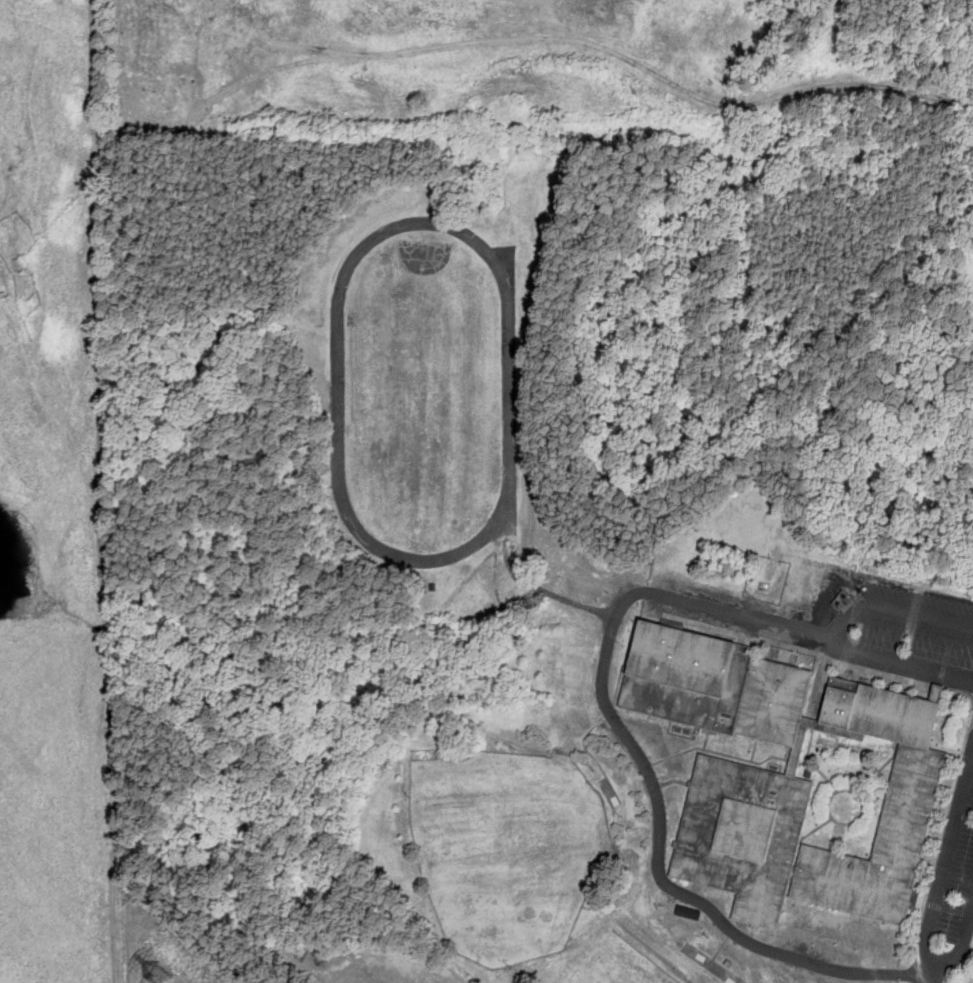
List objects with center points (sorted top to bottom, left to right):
building: (229, 111)
track: (424, 393)
park: (426, 399)
track: (511, 525)
road: (891, 611)
road: (608, 706)
building: (783, 777)
park: (507, 850)
road: (945, 869)
road: (957, 946)
park: (622, 965)
power tower: (159, 977)

